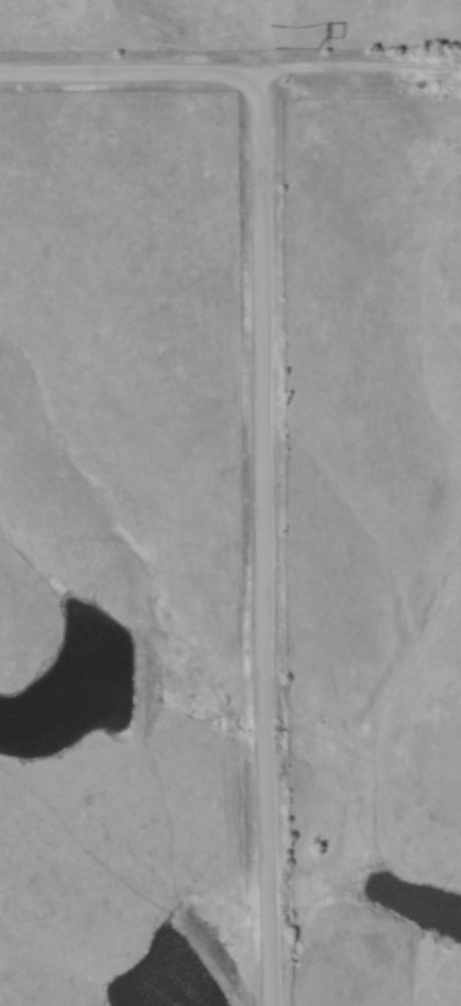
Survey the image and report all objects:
road: (125, 78)
road: (264, 542)

